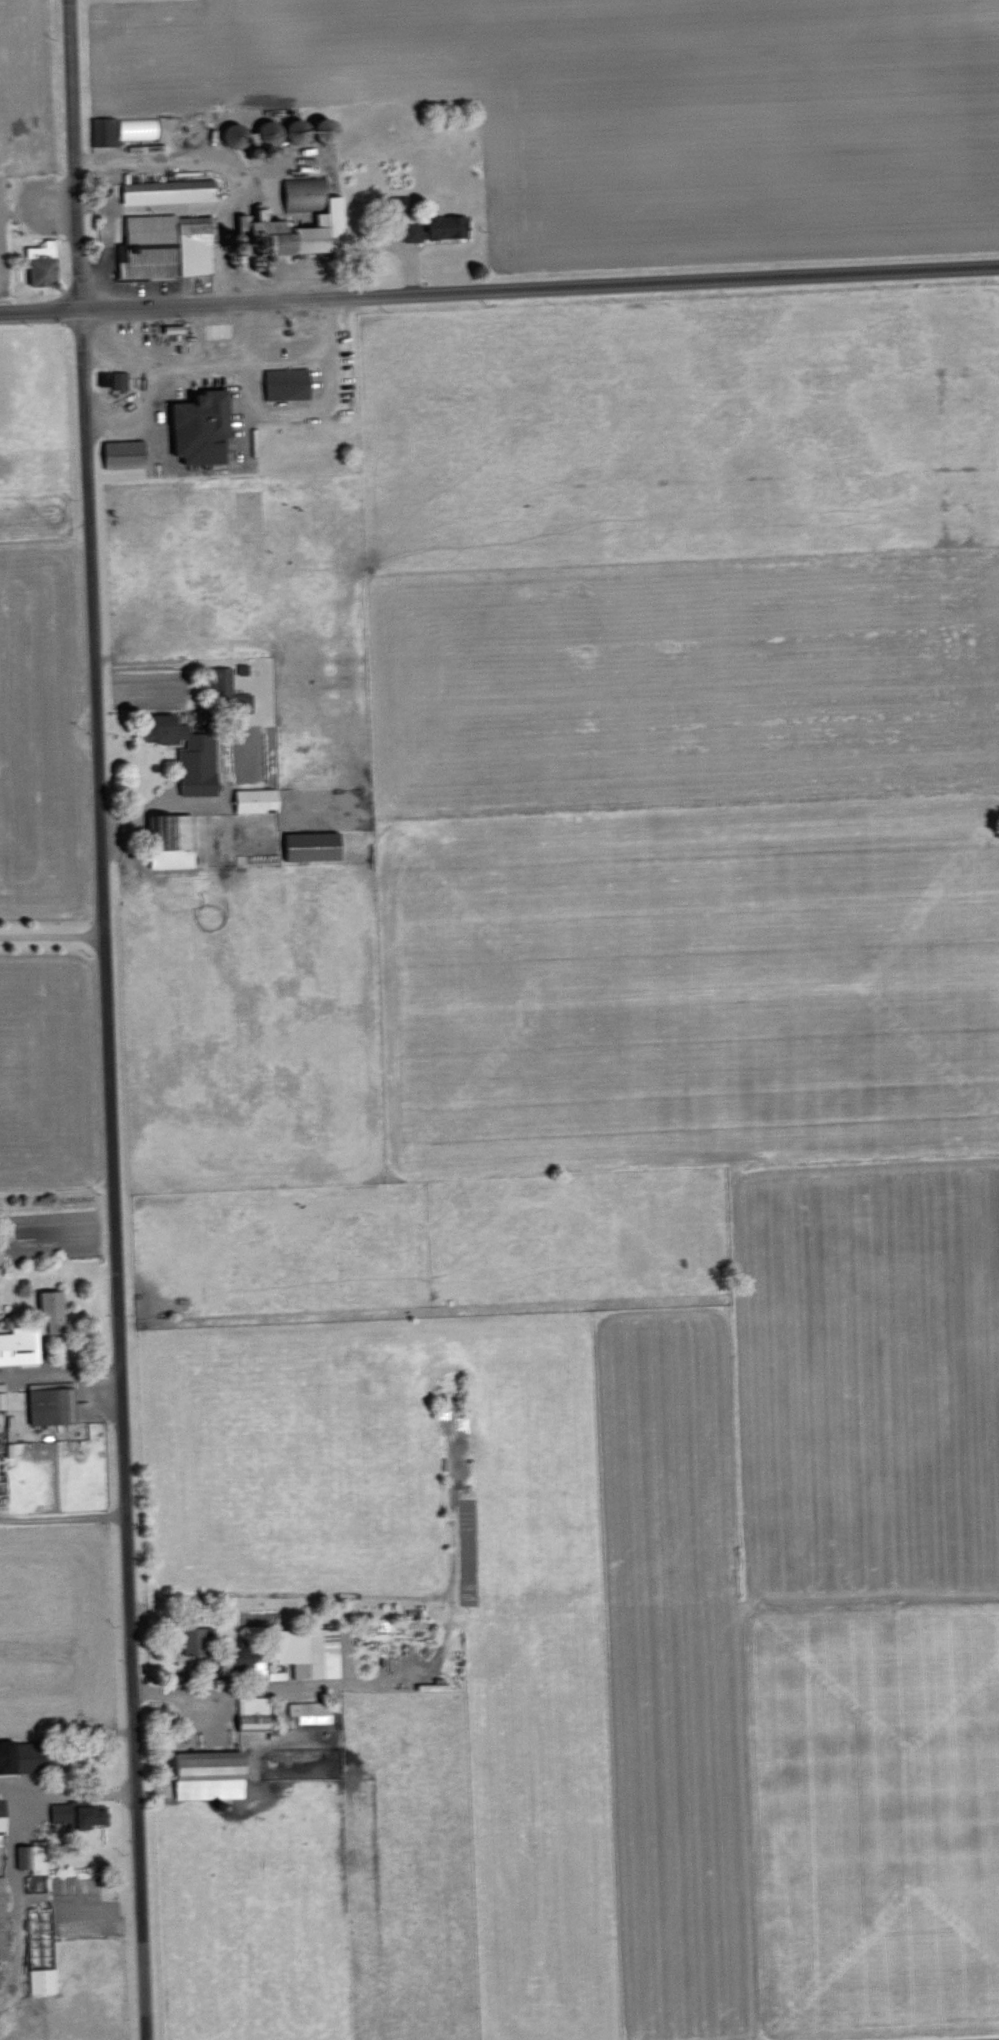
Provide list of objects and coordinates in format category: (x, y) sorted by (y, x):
building: (137, 127)
building: (103, 131)
building: (167, 191)
building: (329, 215)
building: (437, 227)
building: (164, 247)
building: (41, 264)
road: (499, 291)
road: (262, 320)
road: (195, 330)
road: (214, 353)
building: (119, 379)
building: (287, 383)
building: (201, 427)
building: (123, 453)
building: (187, 753)
building: (255, 800)
building: (171, 841)
building: (312, 846)
road: (51, 936)
road: (107, 1019)
building: (50, 1312)
building: (20, 1345)
building: (2, 1399)
building: (51, 1404)
building: (194, 1639)
building: (309, 1651)
building: (310, 1711)
building: (253, 1714)
building: (21, 1755)
building: (208, 1774)
road: (69, 1796)
building: (75, 1815)
building: (1, 1823)
building: (32, 1857)
building: (2, 1920)
building: (41, 1980)

